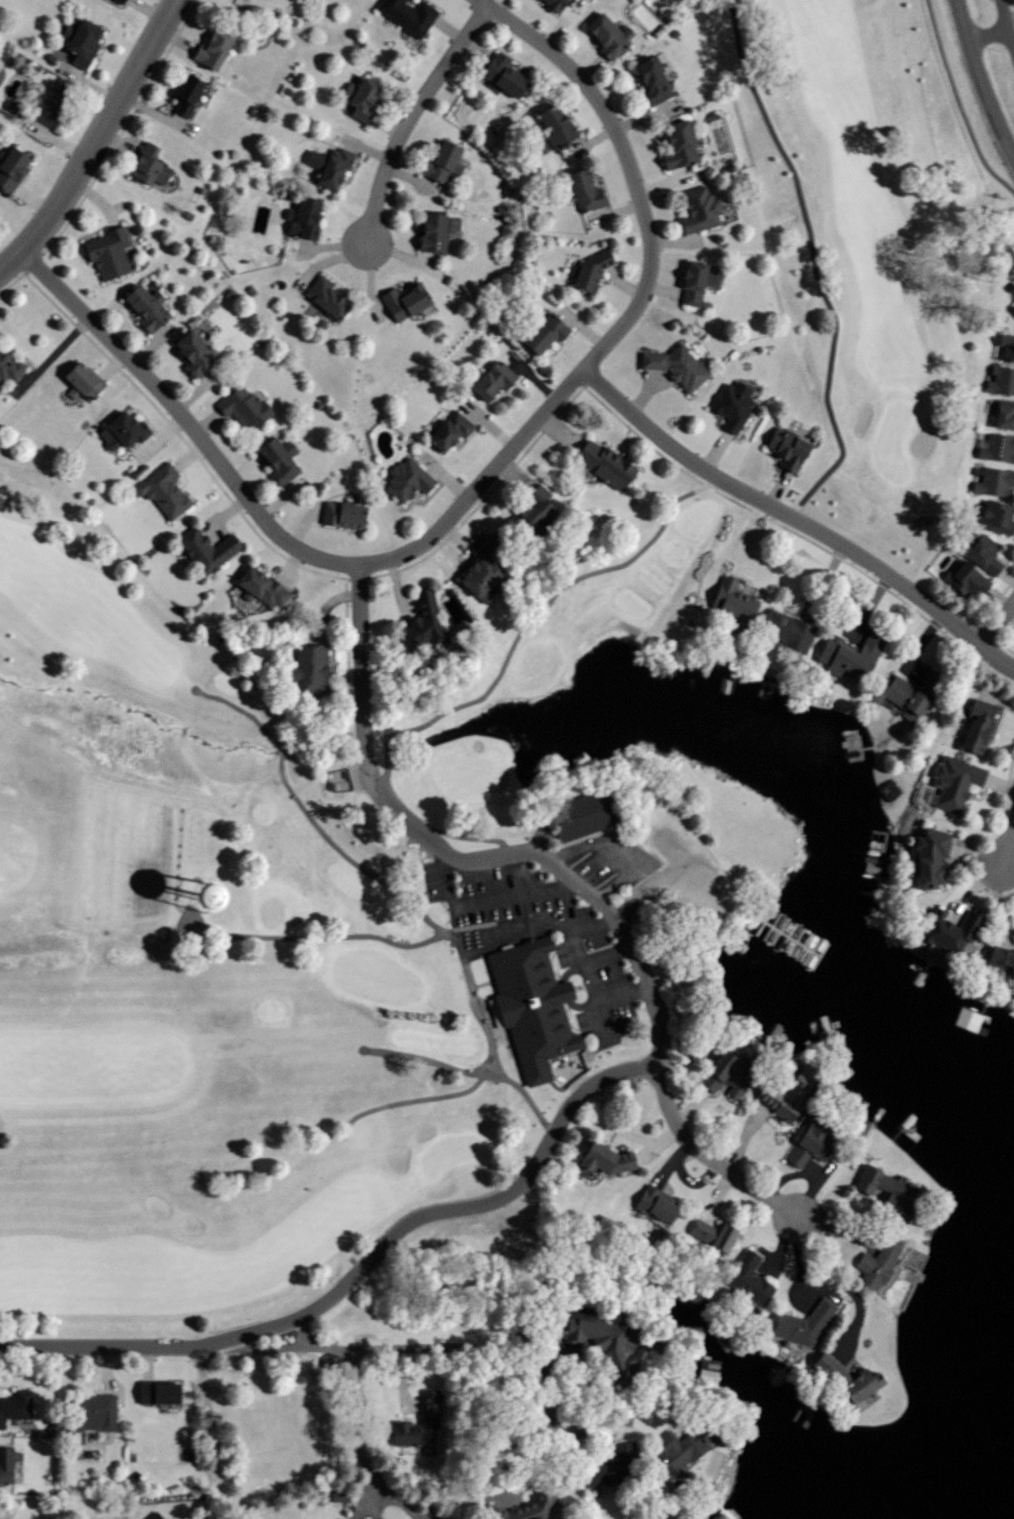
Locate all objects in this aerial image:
building: (117, 1)
building: (550, 4)
building: (406, 15)
road: (1006, 23)
road: (988, 35)
building: (602, 36)
building: (80, 43)
building: (210, 48)
building: (500, 74)
building: (648, 79)
road: (980, 80)
building: (184, 95)
building: (357, 96)
building: (48, 101)
road: (961, 103)
road: (409, 115)
building: (553, 124)
road: (95, 138)
building: (675, 144)
building: (440, 163)
building: (146, 166)
building: (9, 167)
building: (331, 167)
building: (582, 191)
building: (696, 209)
building: (300, 218)
building: (430, 234)
building: (106, 253)
building: (585, 270)
building: (692, 280)
building: (323, 297)
building: (402, 301)
building: (144, 306)
building: (1012, 309)
building: (542, 331)
building: (1005, 345)
building: (189, 353)
building: (674, 365)
building: (10, 367)
building: (81, 378)
building: (489, 378)
building: (1000, 380)
building: (241, 405)
building: (731, 405)
building: (1003, 413)
building: (447, 428)
building: (116, 430)
building: (784, 447)
building: (997, 447)
road: (839, 455)
building: (276, 458)
building: (602, 463)
building: (405, 478)
building: (993, 481)
road: (475, 488)
building: (161, 489)
building: (531, 507)
building: (339, 513)
building: (994, 516)
road: (796, 520)
building: (204, 548)
building: (981, 552)
building: (478, 575)
building: (963, 578)
park: (406, 582)
building: (260, 586)
building: (731, 598)
building: (419, 622)
road: (528, 622)
road: (997, 623)
building: (784, 629)
building: (845, 654)
building: (305, 667)
building: (897, 693)
building: (974, 727)
building: (952, 781)
road: (307, 813)
building: (578, 814)
road: (1007, 850)
building: (927, 857)
road: (1007, 870)
road: (561, 871)
water tower: (203, 892)
building: (180, 893)
road: (483, 899)
building: (947, 930)
road: (455, 949)
road: (605, 956)
building: (1001, 958)
road: (583, 975)
building: (530, 1005)
road: (463, 1071)
building: (720, 1074)
building: (782, 1094)
building: (806, 1144)
building: (600, 1161)
building: (885, 1193)
building: (654, 1203)
building: (710, 1233)
building: (877, 1265)
road: (361, 1268)
road: (834, 1279)
building: (747, 1280)
building: (799, 1323)
building: (602, 1341)
road: (419, 1346)
building: (844, 1379)
building: (156, 1391)
building: (16, 1405)
building: (86, 1411)
building: (418, 1425)
road: (210, 1433)
road: (359, 1444)
building: (677, 1446)
building: (621, 1449)
building: (4, 1465)
building: (596, 1473)
building: (496, 1505)
building: (152, 1515)

